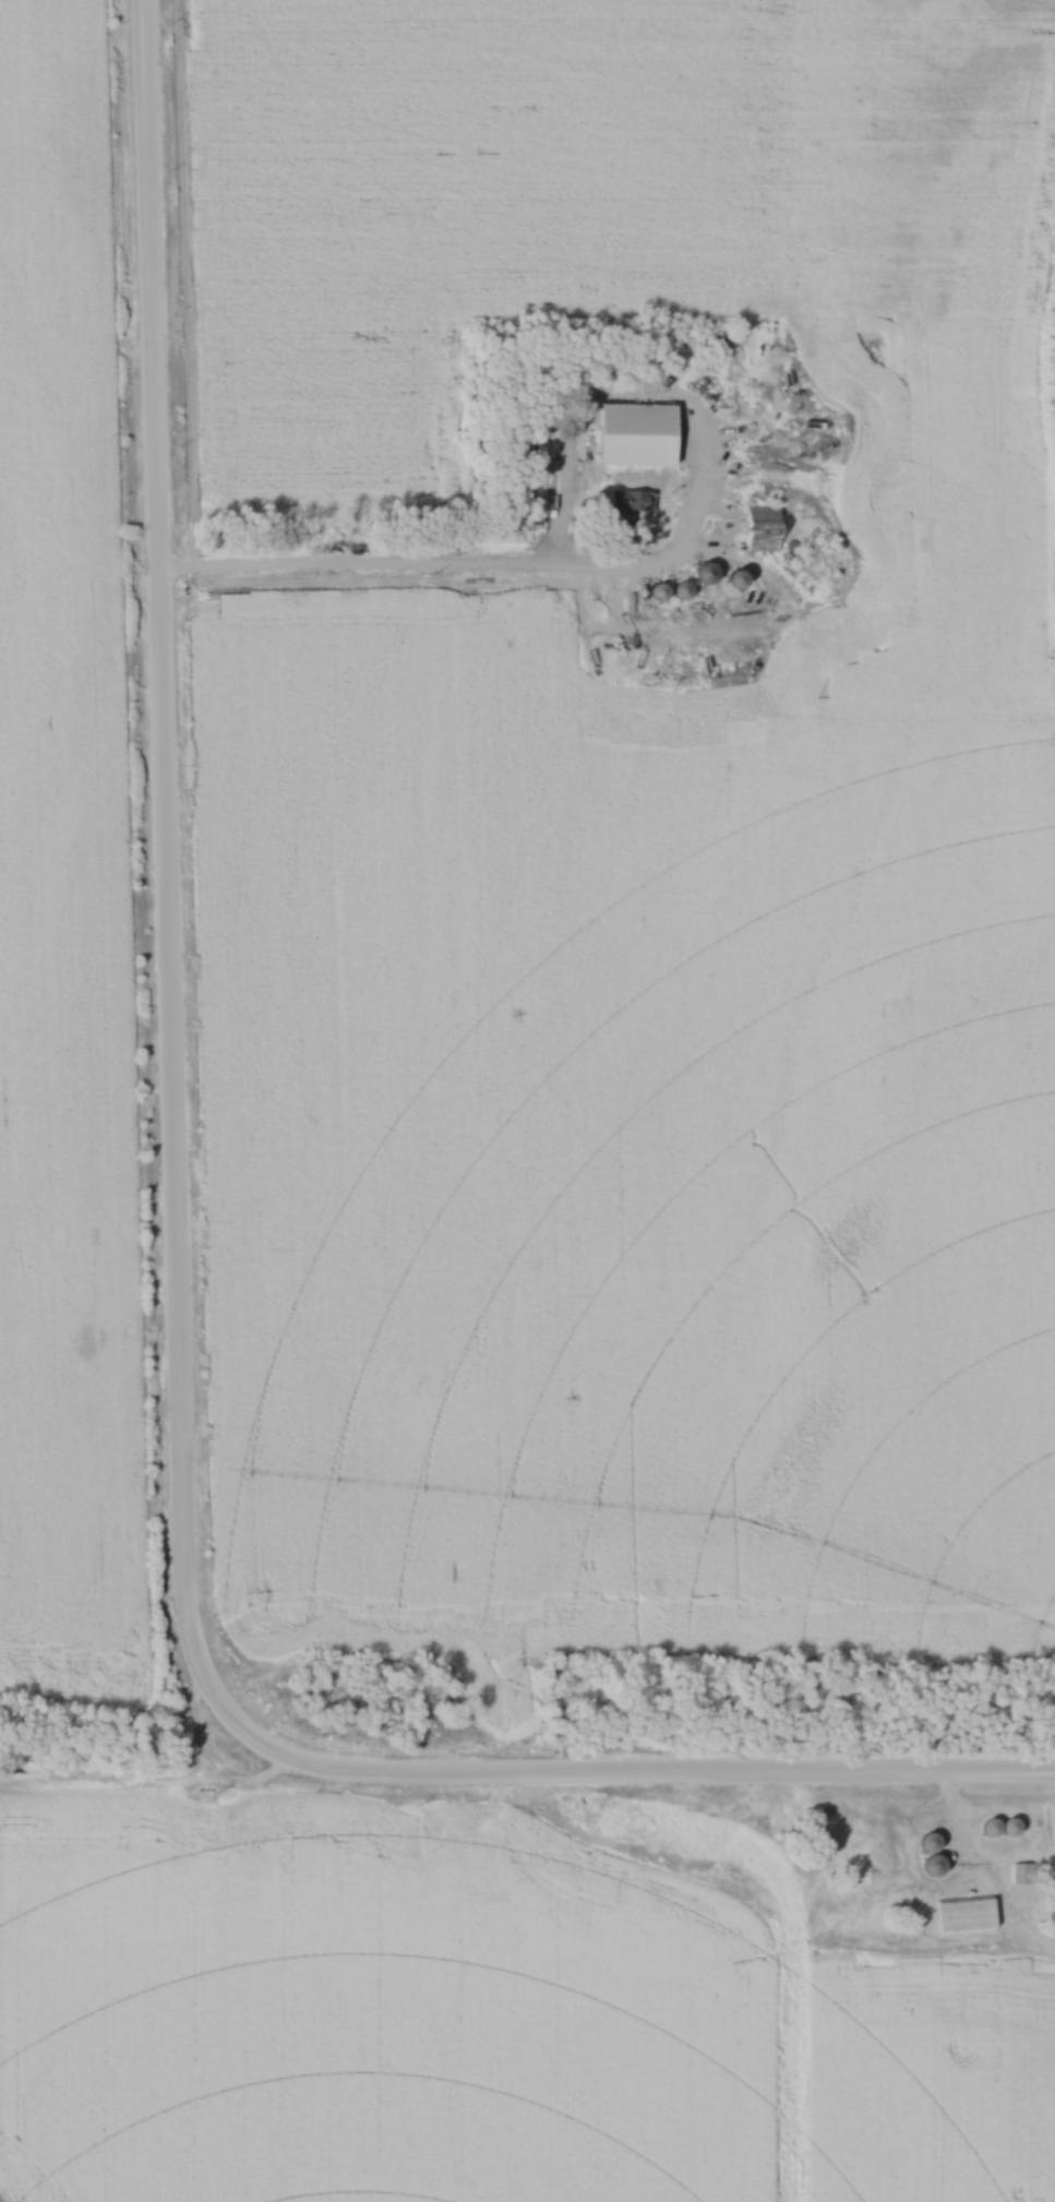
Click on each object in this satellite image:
building: (710, 372)
building: (697, 443)
building: (630, 502)
road: (690, 527)
building: (759, 528)
road: (720, 540)
road: (448, 570)
building: (705, 574)
building: (734, 581)
road: (171, 1288)
building: (1008, 1828)
building: (927, 1844)
building: (1019, 1874)
road: (983, 1877)
building: (963, 1916)

